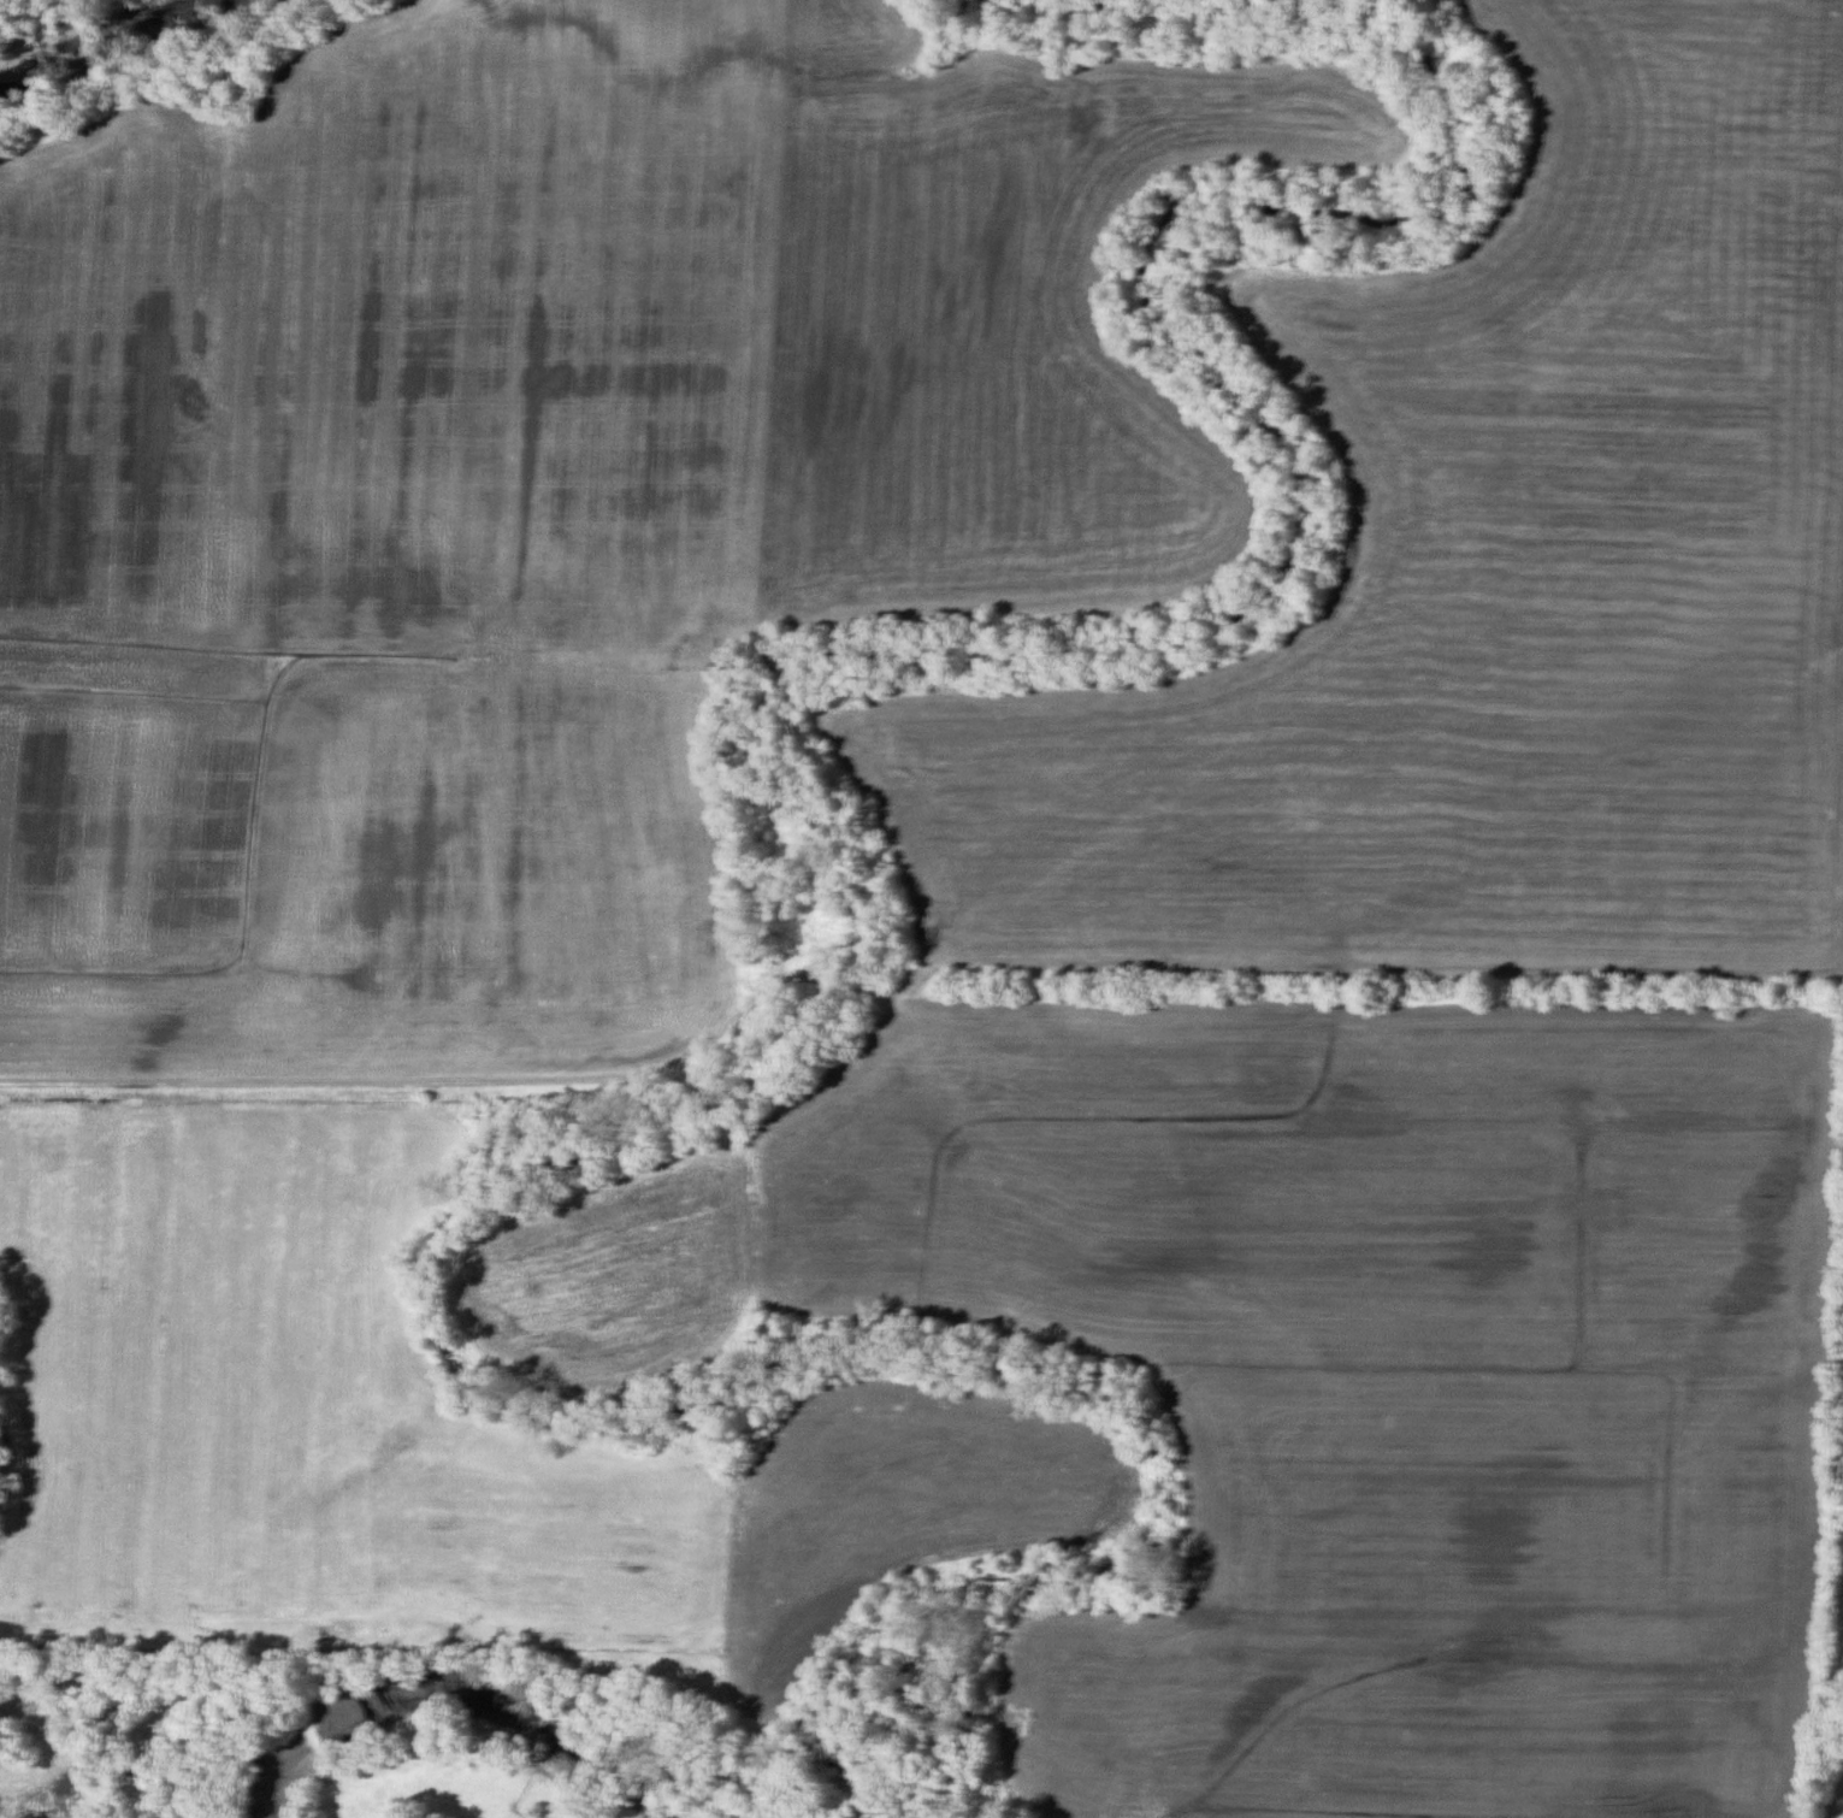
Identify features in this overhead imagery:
river: (107, 43)
crop: (544, 490)
crop: (1483, 579)
road: (388, 1084)
crop: (1331, 1357)
crop: (420, 1429)
crop: (1842, 1478)

